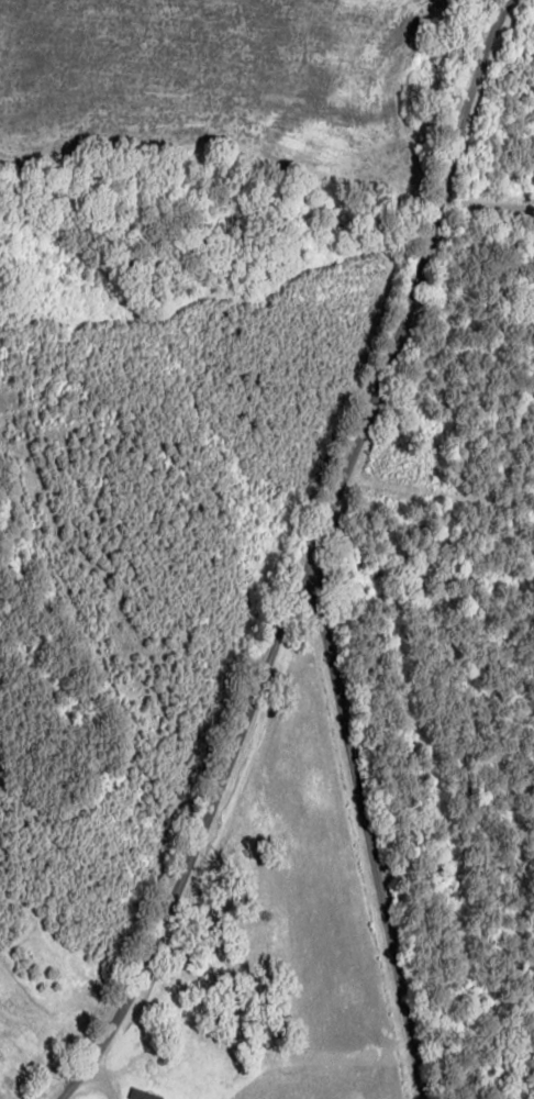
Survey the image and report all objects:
road: (309, 562)
road: (378, 829)
building: (144, 1094)

